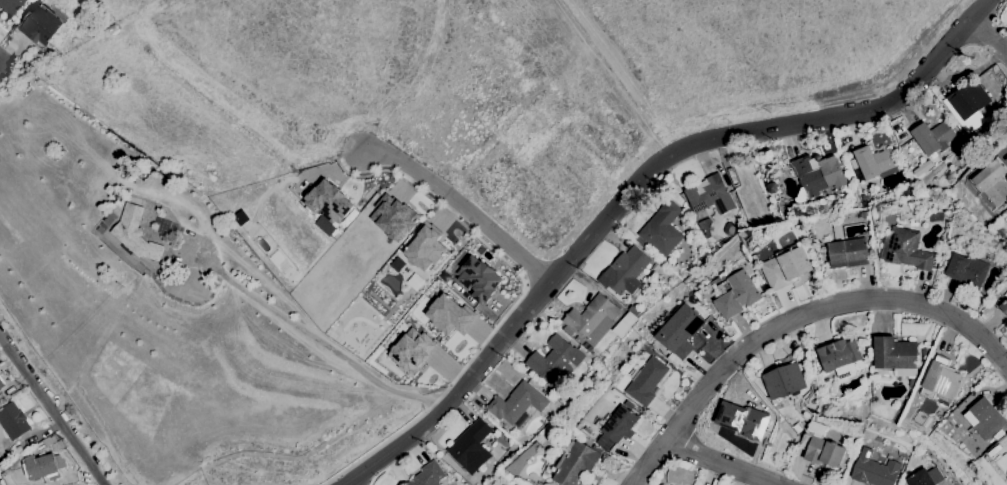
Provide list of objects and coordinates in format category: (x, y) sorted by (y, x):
building: (7, 6)
building: (42, 25)
road: (988, 38)
road: (5, 61)
building: (968, 105)
building: (897, 125)
building: (933, 137)
building: (873, 163)
road: (337, 168)
building: (816, 175)
building: (993, 182)
road: (636, 185)
building: (710, 195)
building: (327, 202)
road: (460, 205)
building: (864, 215)
building: (392, 217)
building: (662, 229)
building: (837, 231)
building: (135, 234)
road: (567, 241)
building: (957, 247)
building: (424, 248)
building: (906, 249)
building: (847, 253)
building: (785, 267)
road: (537, 270)
building: (966, 270)
building: (624, 271)
building: (736, 294)
building: (1004, 306)
road: (509, 311)
building: (634, 311)
building: (448, 315)
road: (794, 318)
road: (281, 319)
building: (591, 319)
building: (624, 325)
building: (681, 332)
building: (410, 351)
building: (923, 352)
building: (894, 354)
building: (840, 357)
building: (555, 360)
building: (646, 381)
building: (784, 381)
building: (941, 381)
building: (1, 383)
building: (0, 389)
building: (15, 394)
building: (517, 403)
road: (51, 410)
building: (922, 418)
building: (985, 418)
building: (742, 420)
building: (13, 421)
building: (620, 424)
building: (789, 431)
building: (51, 443)
building: (471, 447)
building: (822, 448)
road: (720, 463)
building: (576, 464)
building: (41, 466)
building: (874, 470)
building: (428, 475)
building: (925, 477)

